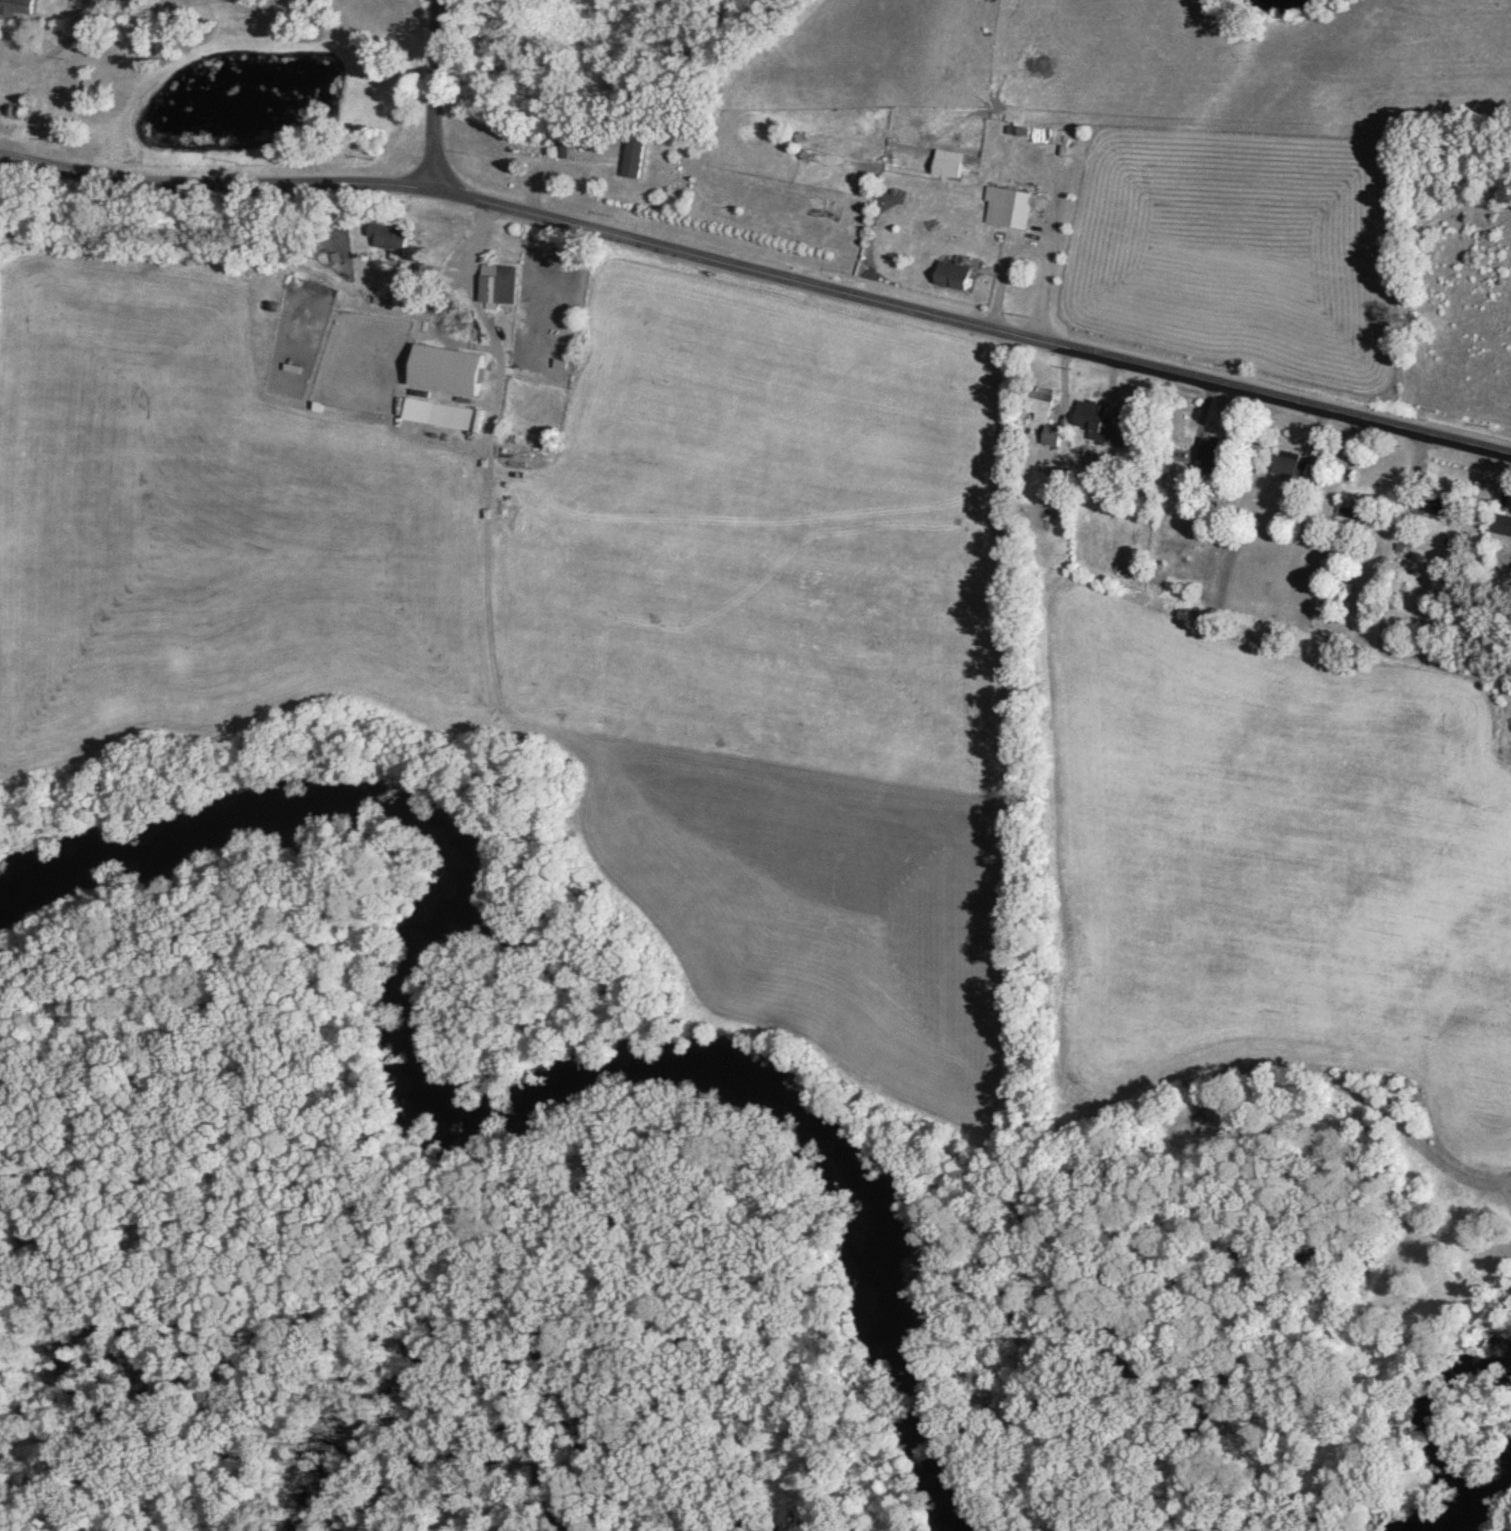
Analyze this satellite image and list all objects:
building: (15, 9)
road: (432, 96)
building: (561, 154)
building: (630, 163)
building: (946, 167)
building: (1005, 211)
building: (386, 242)
road: (760, 267)
building: (950, 278)
building: (496, 287)
building: (1039, 405)
building: (449, 420)
building: (1095, 425)
building: (1050, 439)
building: (1210, 459)
building: (1289, 468)
building: (1429, 507)
building: (1500, 528)
road: (1141, 629)
river: (460, 1122)
river: (1463, 1505)

